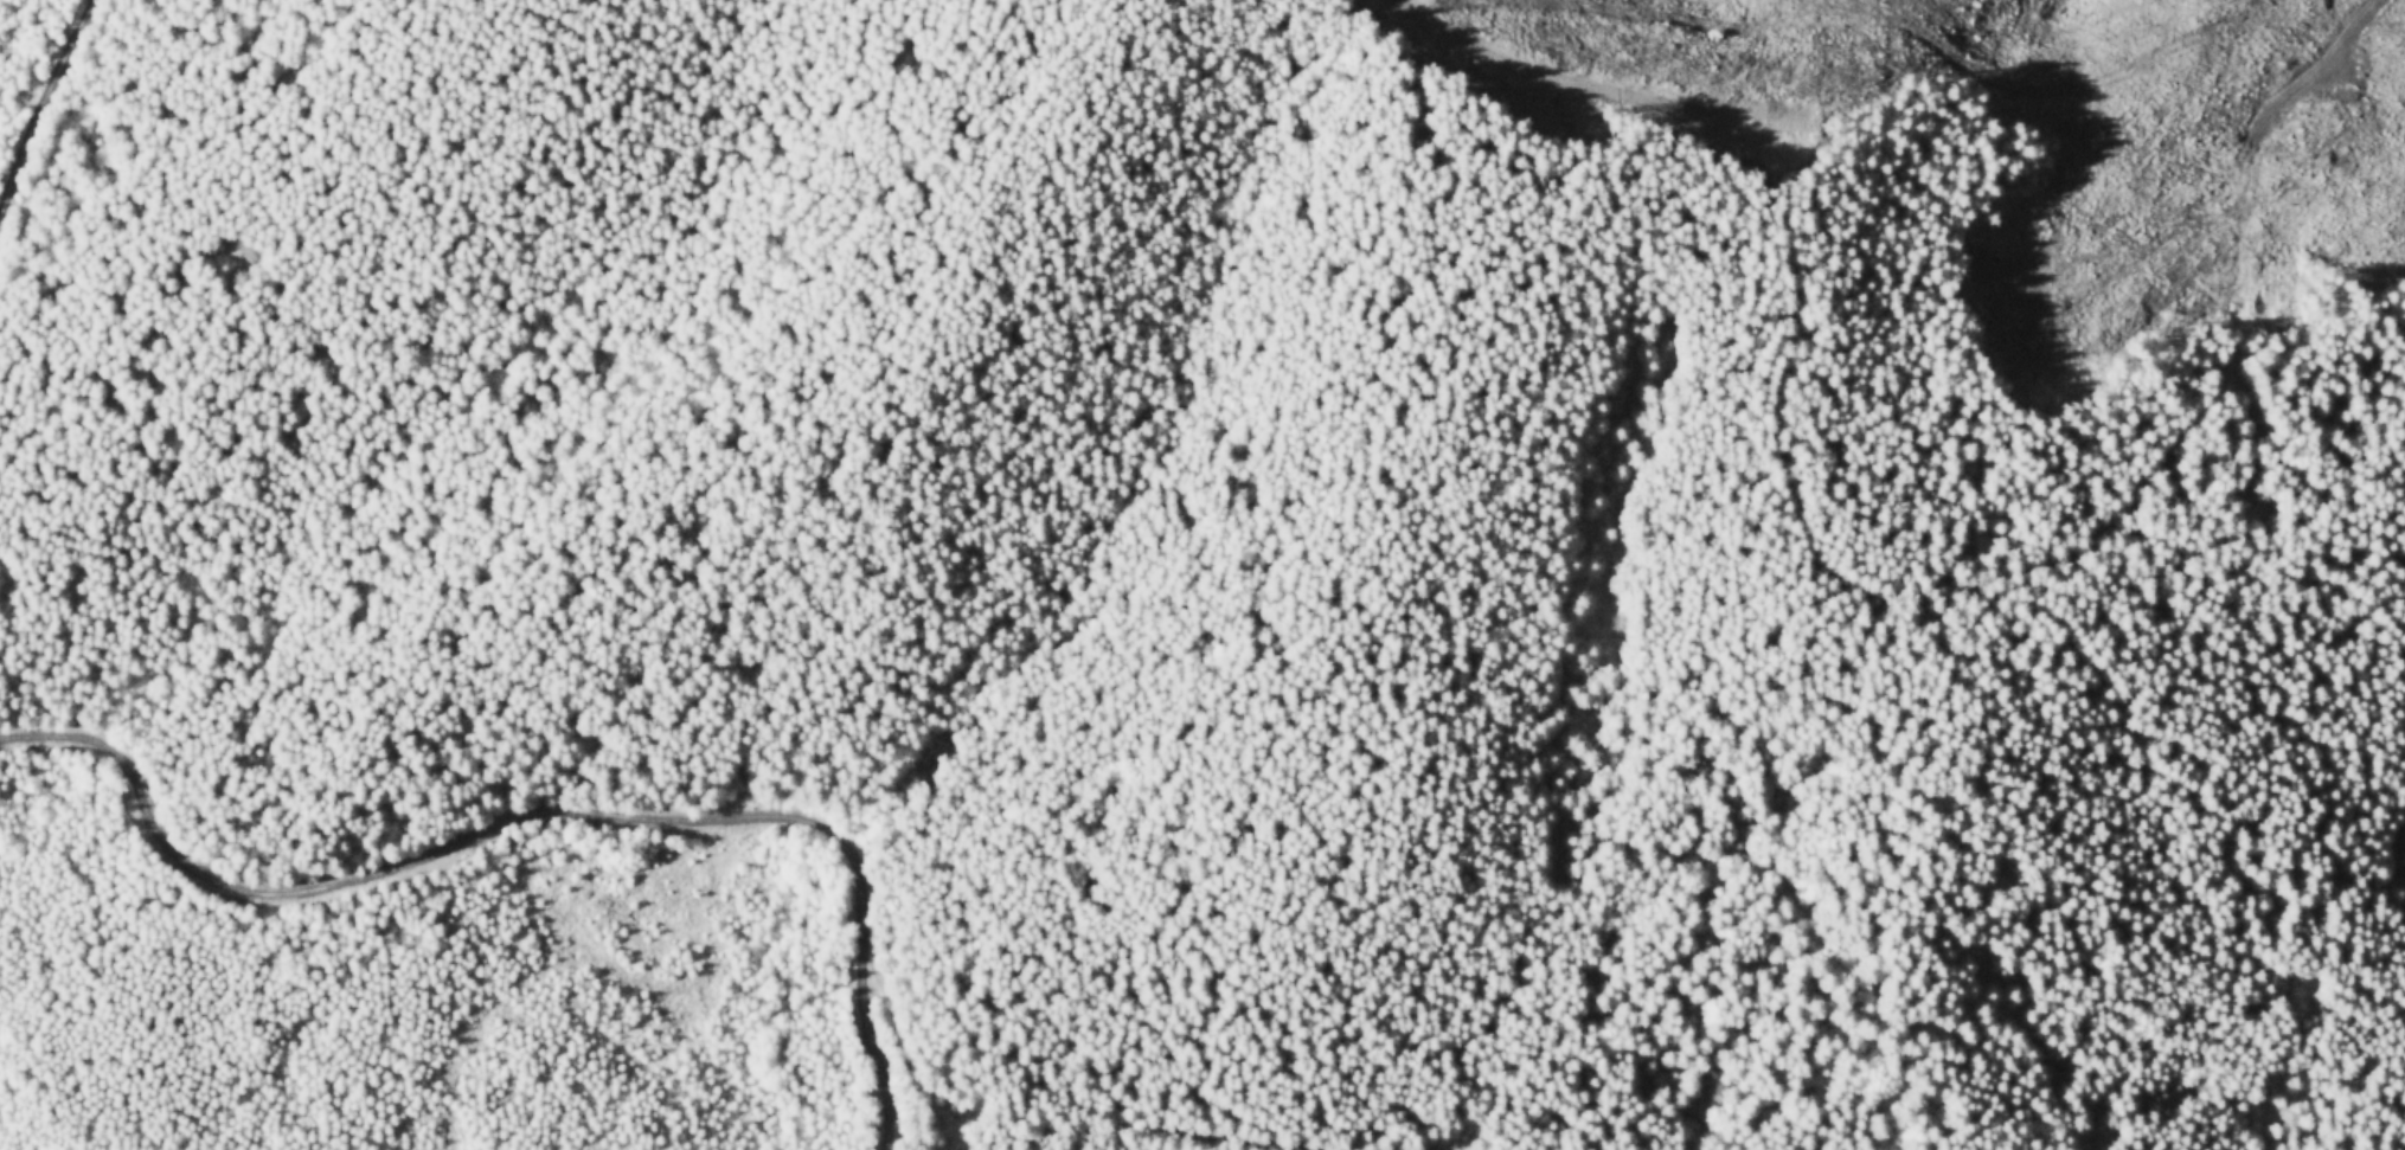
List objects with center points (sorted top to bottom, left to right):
road: (44, 124)
road: (1856, 586)
road: (541, 809)
road: (1064, 1133)

